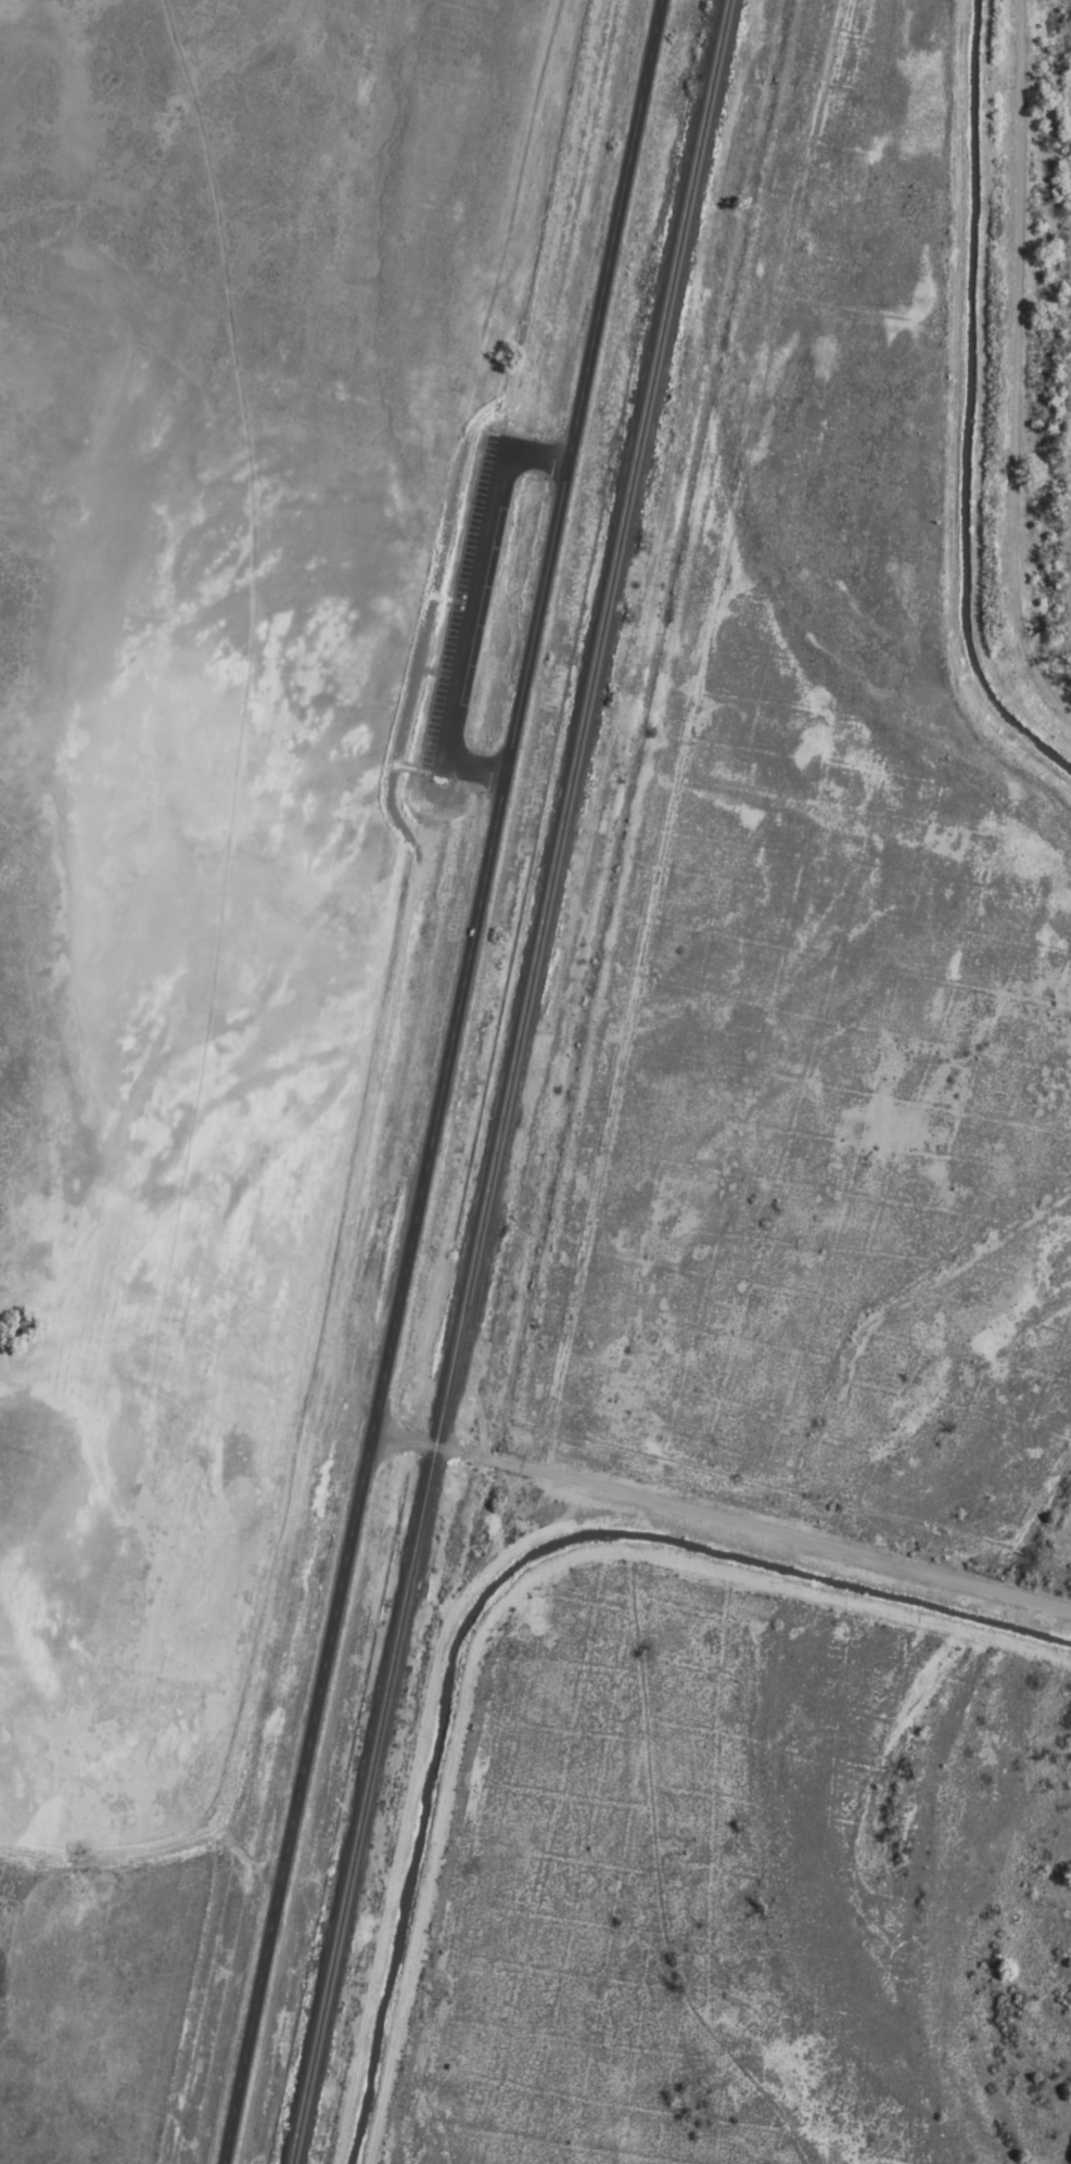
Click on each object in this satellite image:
road: (1017, 365)
parking lot: (531, 529)
railway: (585, 721)
road: (411, 916)
road: (444, 1082)
parking lot: (383, 1261)
railway: (438, 1446)
road: (722, 1519)
road: (507, 1595)
road: (442, 1639)
railway: (360, 1806)
road: (110, 1857)
road: (243, 1857)

